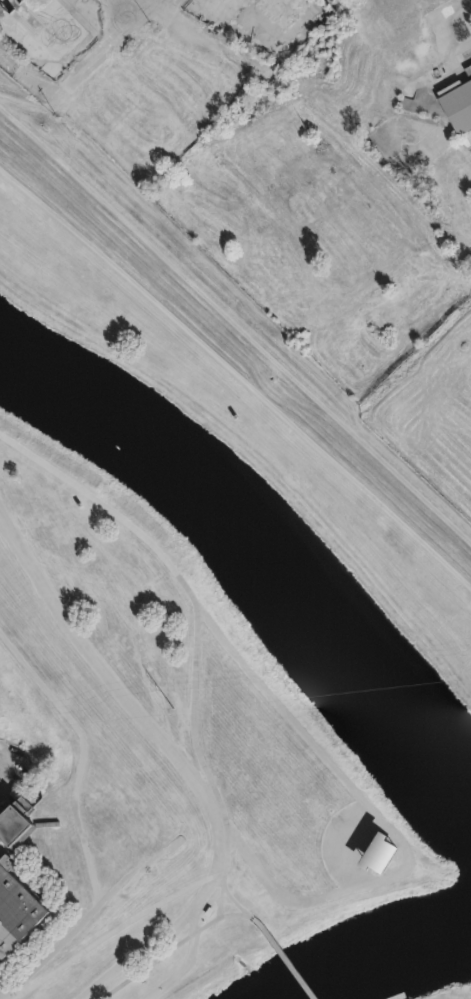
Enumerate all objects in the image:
road: (110, 47)
building: (144, 59)
building: (470, 72)
building: (199, 101)
building: (460, 110)
road: (438, 261)
river: (252, 558)
road: (151, 591)
park: (227, 605)
road: (134, 699)
building: (10, 836)
building: (379, 854)
road: (235, 914)
building: (13, 920)
road: (165, 934)
river: (378, 952)
road: (162, 954)
road: (282, 955)
road: (1, 987)

